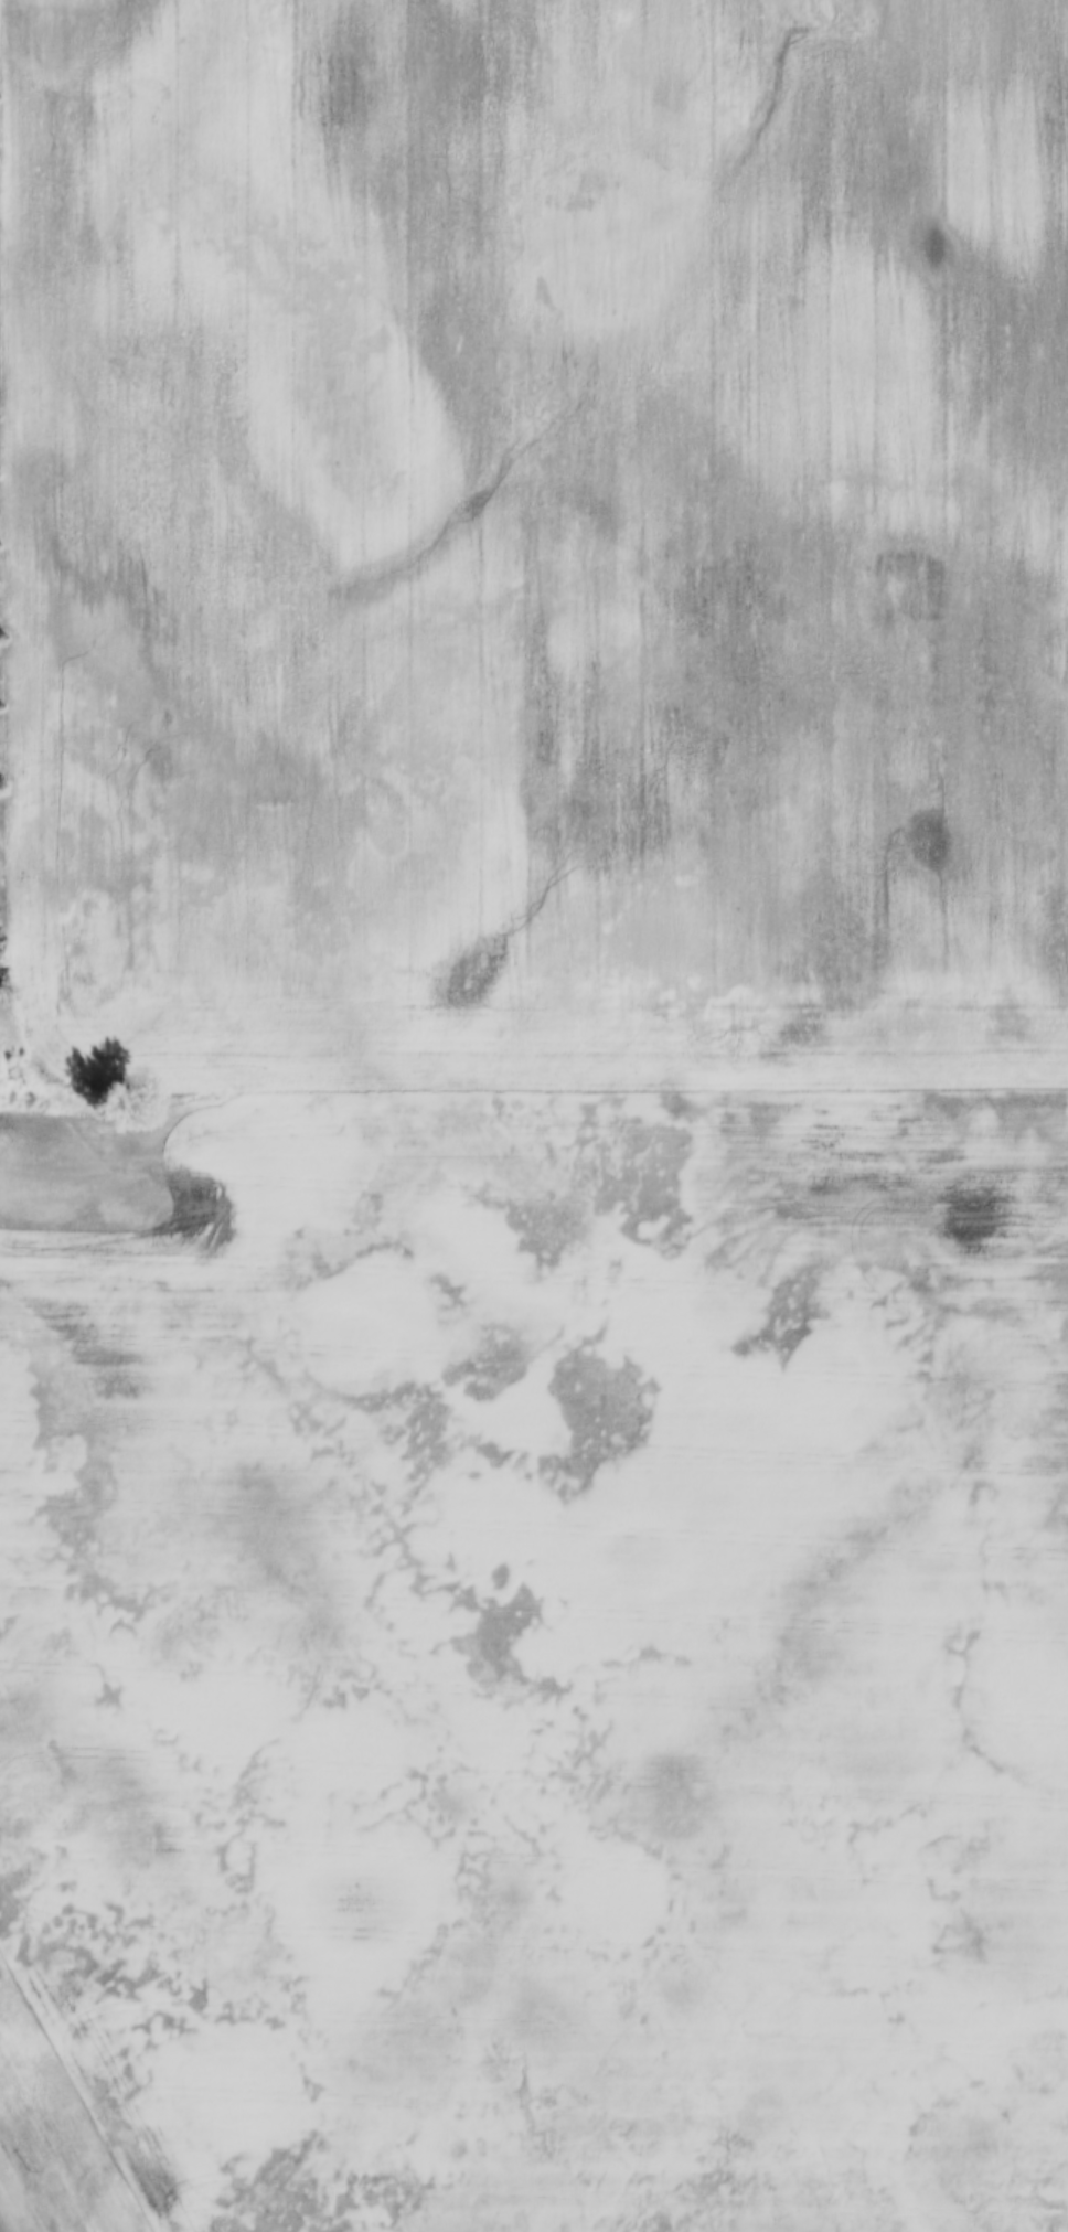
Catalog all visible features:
park: (8, 602)

